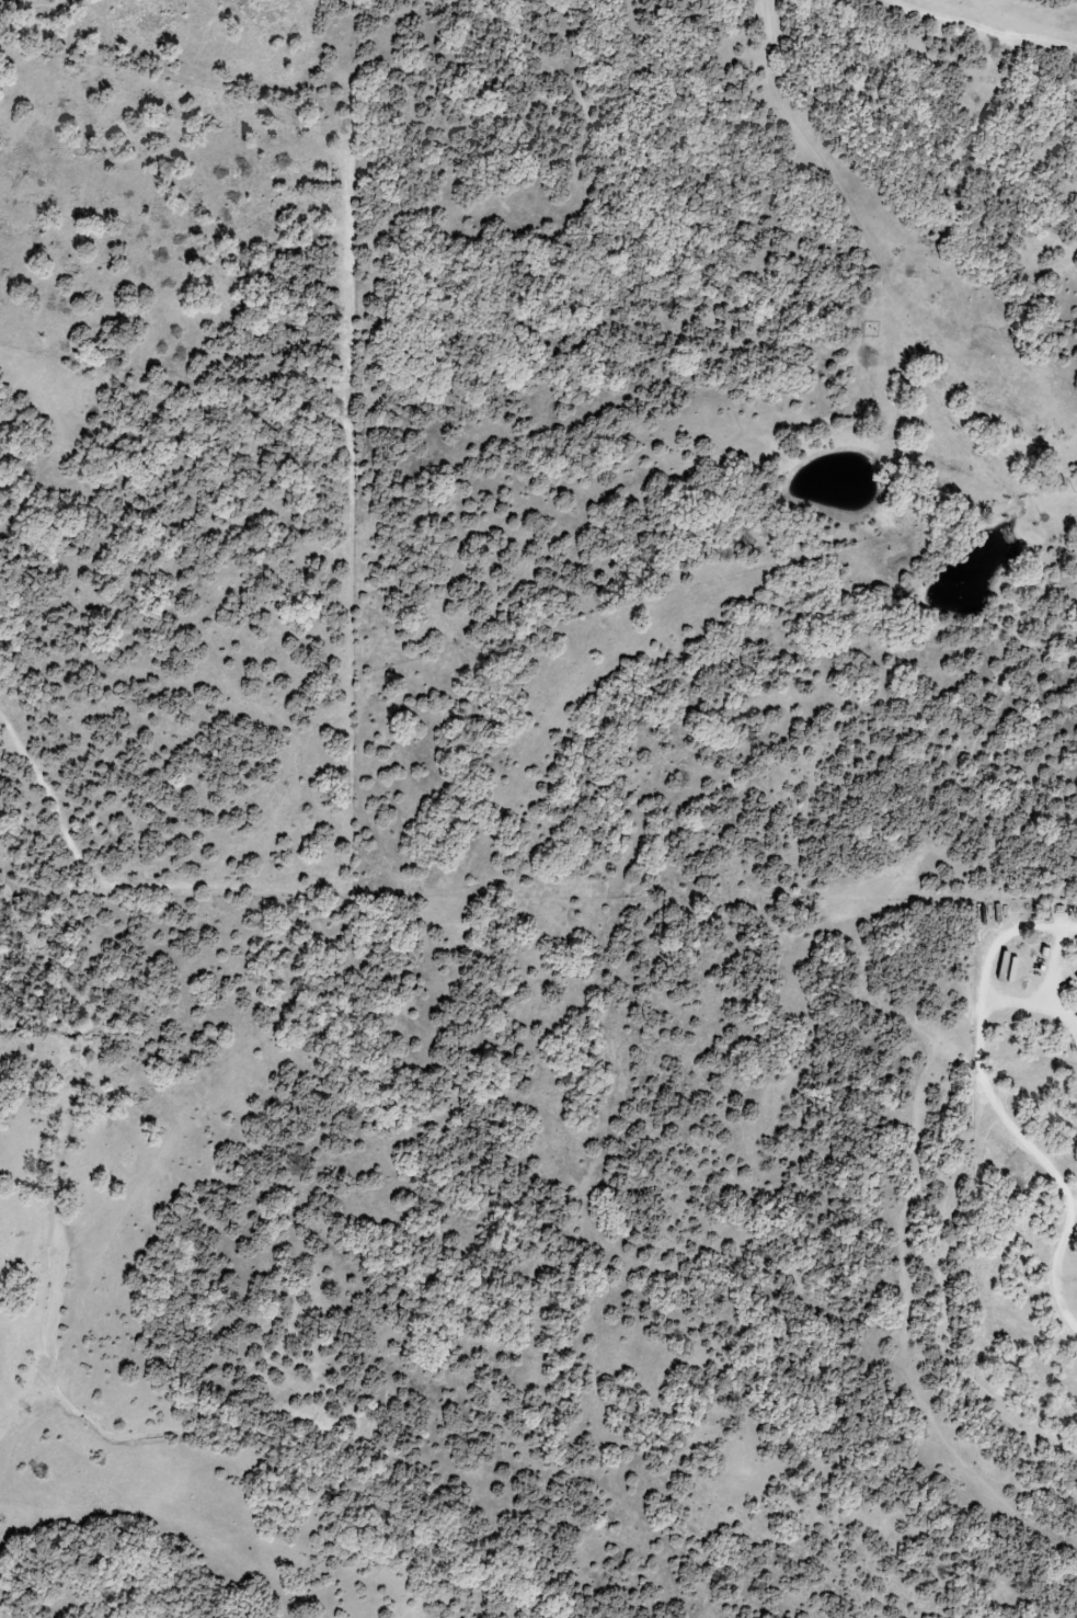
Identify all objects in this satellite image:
road: (995, 1104)

